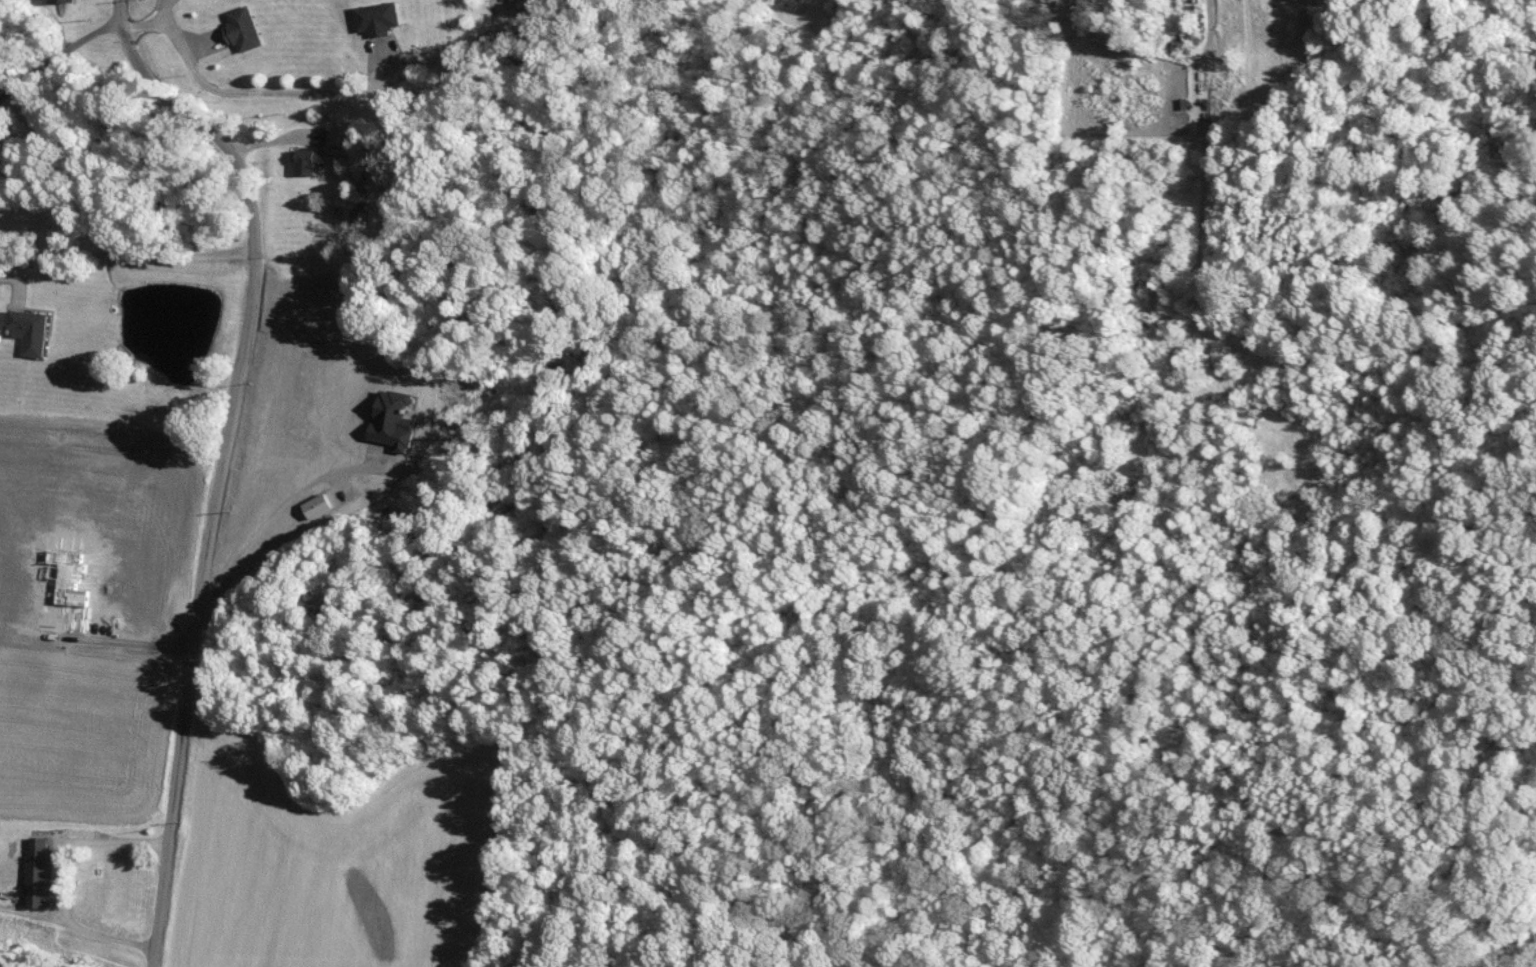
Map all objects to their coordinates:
building: (64, 0)
building: (517, 0)
building: (380, 17)
building: (245, 27)
road: (54, 65)
road: (312, 89)
building: (307, 160)
road: (1218, 163)
road: (123, 246)
building: (31, 329)
building: (396, 418)
road: (216, 458)
building: (320, 504)
road: (269, 515)
building: (41, 870)
road: (53, 881)

